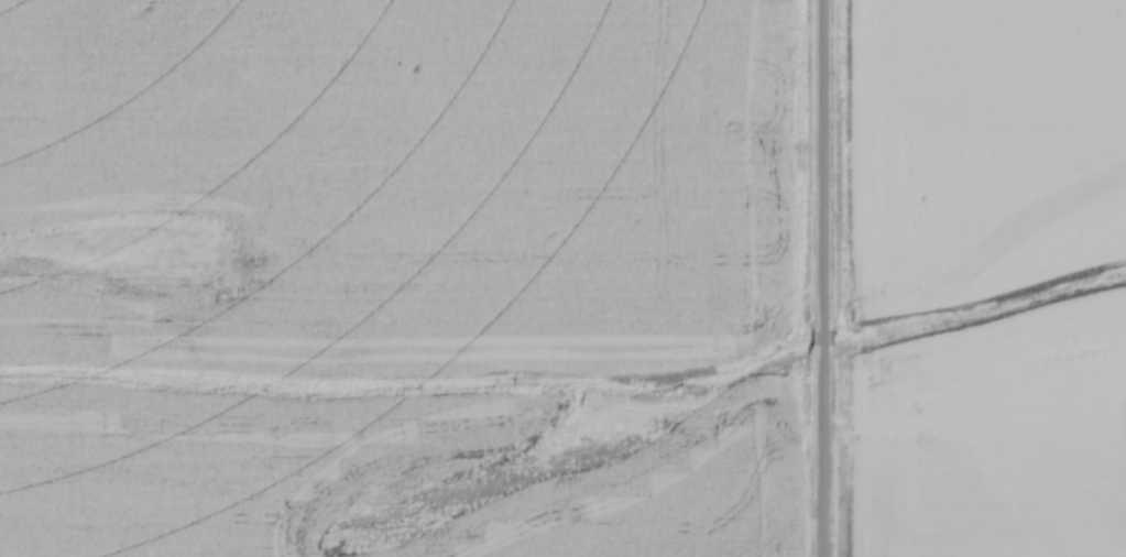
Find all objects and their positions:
road: (822, 278)

